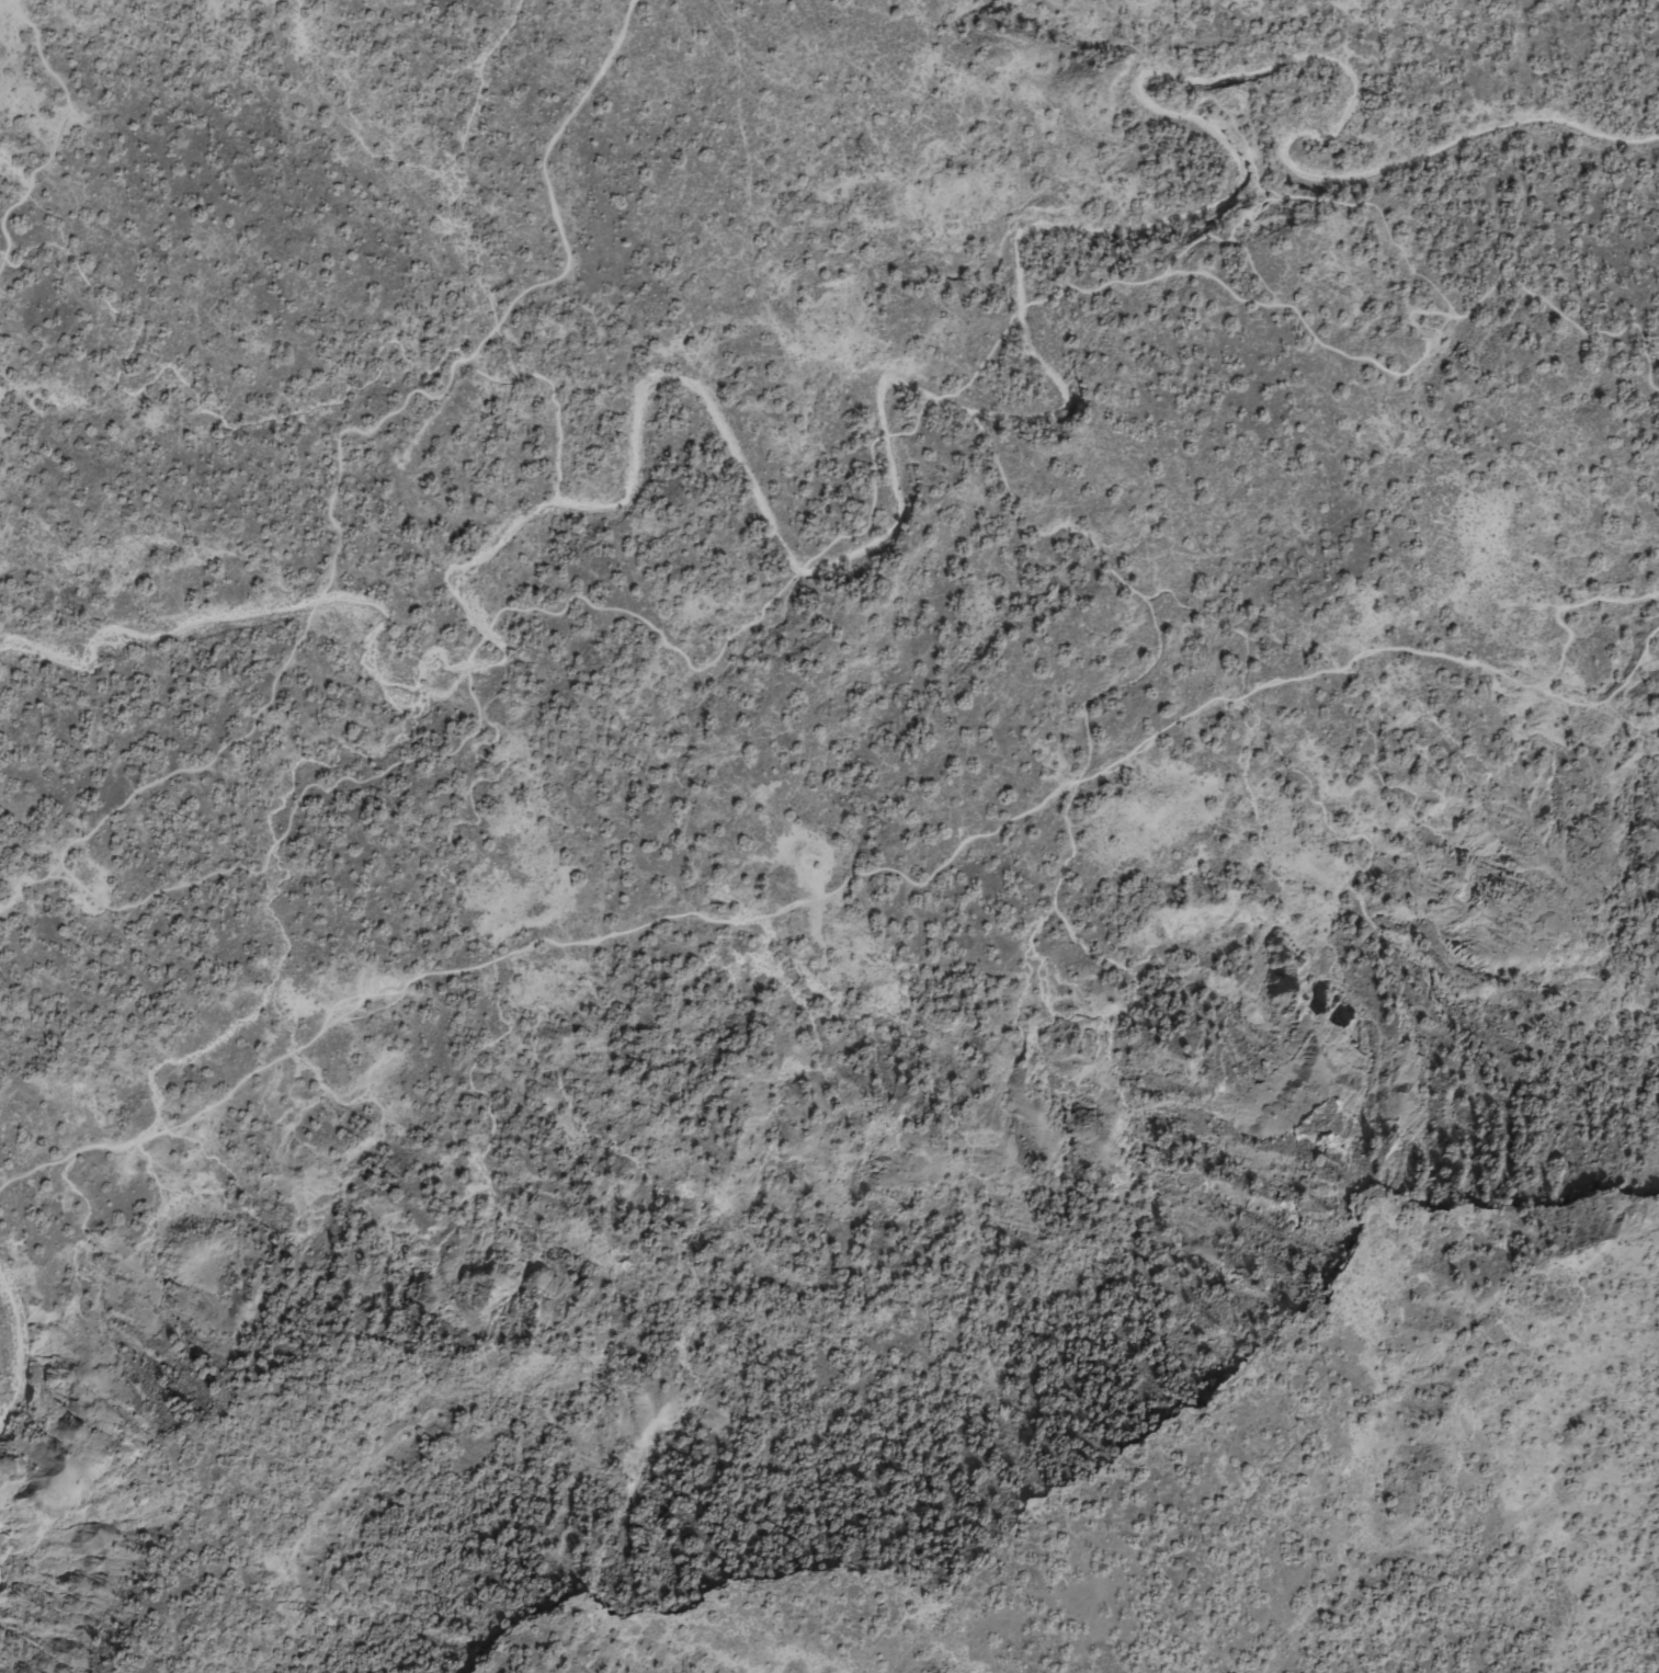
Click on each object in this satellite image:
road: (60, 134)
road: (488, 731)
road: (856, 875)
road: (30, 883)

